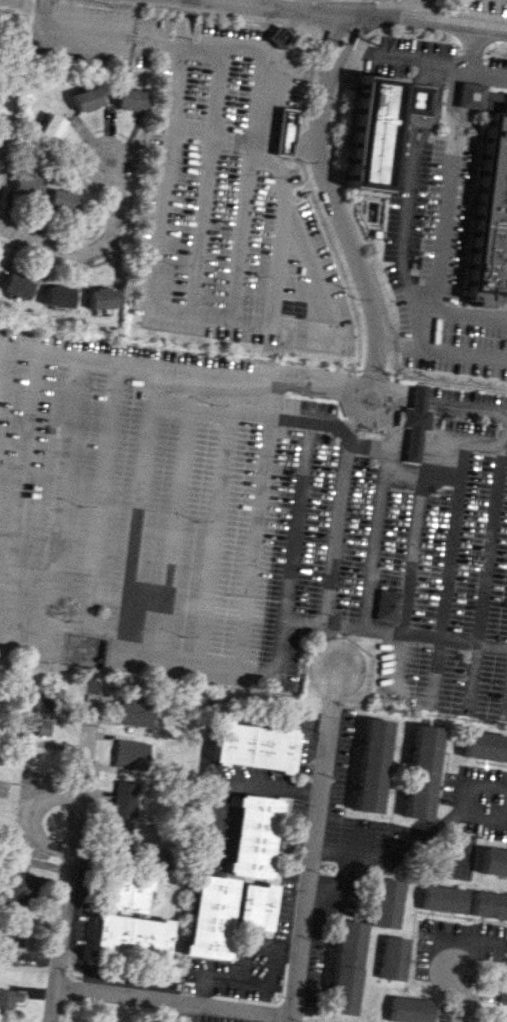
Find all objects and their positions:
road: (45, 0)
parking lot: (473, 4)
road: (330, 7)
road: (383, 8)
road: (43, 14)
road: (364, 15)
building: (6, 19)
road: (297, 21)
road: (183, 25)
road: (111, 36)
building: (278, 36)
road: (279, 36)
road: (273, 42)
road: (330, 43)
road: (270, 46)
road: (347, 46)
road: (472, 48)
parking lot: (403, 54)
road: (436, 62)
road: (423, 72)
parking lot: (496, 72)
road: (469, 76)
road: (468, 95)
building: (470, 95)
building: (127, 98)
building: (84, 99)
road: (414, 99)
building: (416, 99)
road: (451, 103)
road: (434, 104)
road: (464, 122)
road: (451, 124)
road: (425, 127)
building: (48, 128)
road: (413, 129)
building: (284, 132)
building: (372, 133)
road: (211, 134)
road: (254, 137)
road: (271, 138)
road: (459, 140)
road: (419, 141)
road: (295, 142)
road: (311, 144)
road: (452, 144)
road: (414, 145)
road: (270, 146)
road: (295, 147)
building: (2, 159)
parking lot: (214, 180)
building: (24, 183)
road: (202, 184)
building: (59, 202)
building: (490, 208)
road: (342, 228)
road: (110, 231)
building: (374, 233)
road: (404, 235)
road: (22, 238)
parking lot: (436, 261)
road: (437, 268)
building: (13, 285)
road: (318, 293)
building: (56, 296)
building: (99, 298)
road: (172, 312)
road: (430, 328)
road: (402, 343)
road: (467, 352)
road: (59, 356)
road: (236, 376)
road: (231, 386)
road: (354, 389)
road: (506, 413)
road: (229, 414)
building: (416, 421)
road: (352, 424)
road: (326, 426)
road: (505, 437)
road: (403, 472)
road: (19, 494)
road: (101, 497)
road: (60, 498)
parking lot: (251, 519)
road: (336, 530)
road: (174, 533)
road: (215, 538)
road: (252, 542)
road: (376, 544)
road: (488, 572)
road: (448, 576)
road: (408, 583)
building: (387, 605)
road: (83, 630)
road: (393, 632)
road: (21, 636)
road: (198, 660)
building: (43, 702)
building: (135, 711)
building: (42, 728)
building: (253, 746)
building: (484, 746)
building: (130, 753)
building: (372, 765)
building: (421, 772)
road: (472, 786)
road: (291, 789)
road: (217, 794)
building: (124, 798)
road: (486, 819)
building: (121, 834)
building: (254, 836)
road: (314, 844)
road: (388, 851)
road: (72, 852)
road: (439, 854)
building: (493, 862)
road: (339, 883)
building: (19, 887)
building: (126, 893)
building: (442, 899)
building: (386, 903)
building: (489, 905)
building: (256, 906)
building: (211, 917)
building: (19, 933)
building: (131, 937)
building: (393, 958)
building: (346, 967)
road: (252, 979)
building: (502, 988)
road: (457, 995)
building: (9, 999)
road: (172, 1002)
building: (409, 1010)
building: (500, 1017)

